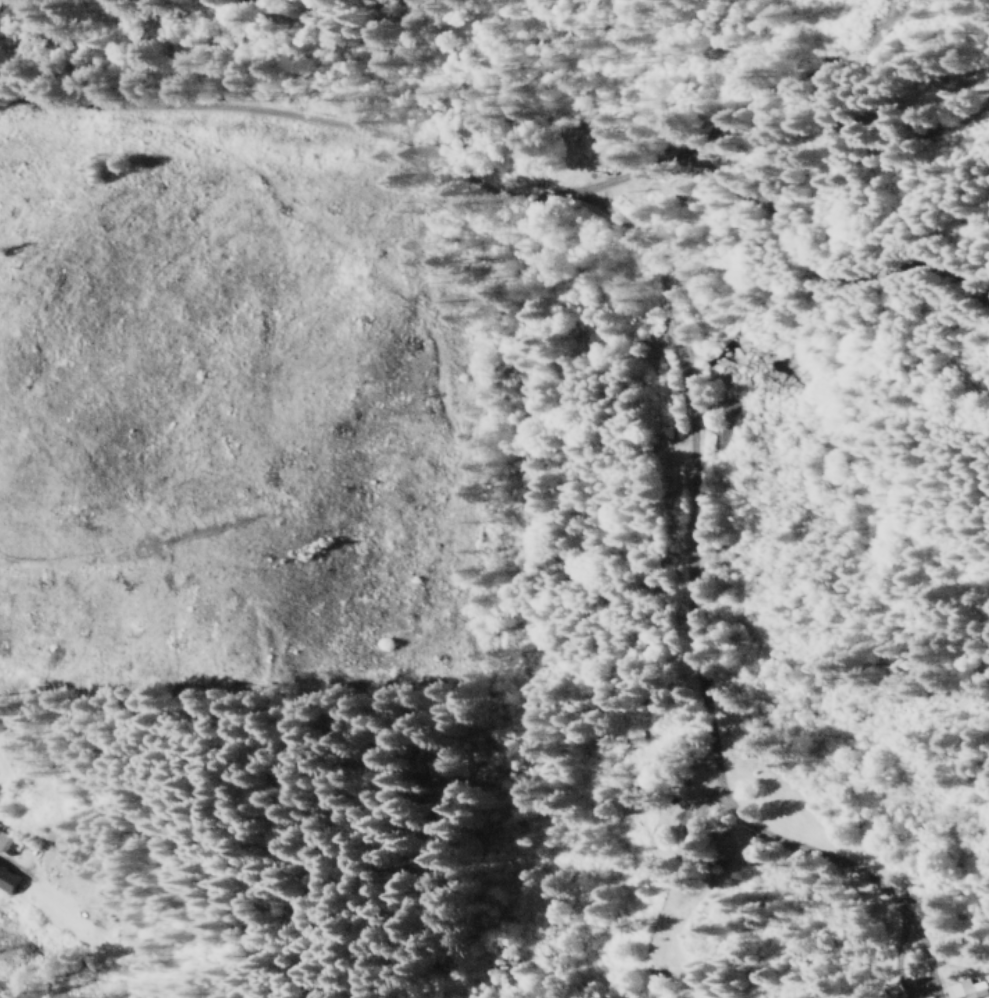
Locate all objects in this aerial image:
road: (659, 297)
building: (6, 840)
building: (6, 880)
building: (956, 987)

